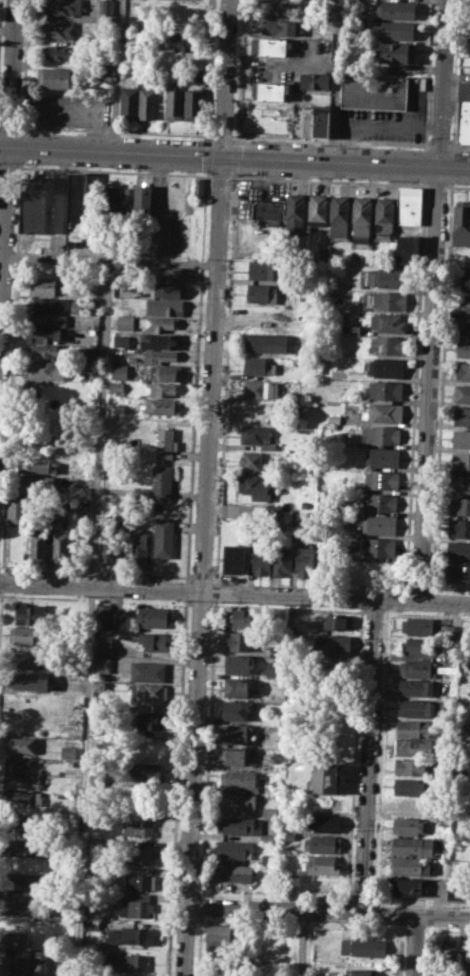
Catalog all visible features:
building: (277, 6)
building: (62, 7)
building: (106, 7)
building: (391, 9)
building: (182, 16)
road: (0, 19)
building: (281, 27)
building: (59, 30)
building: (394, 30)
building: (181, 41)
building: (271, 46)
building: (393, 51)
building: (57, 52)
road: (24, 63)
road: (209, 70)
road: (238, 70)
road: (11, 72)
building: (104, 72)
road: (116, 75)
building: (53, 77)
road: (224, 77)
building: (314, 80)
road: (335, 80)
road: (443, 83)
building: (270, 91)
building: (464, 91)
building: (374, 92)
building: (128, 102)
building: (149, 103)
building: (173, 104)
building: (191, 104)
parking lot: (67, 110)
road: (83, 110)
building: (316, 121)
building: (463, 122)
road: (0, 125)
road: (9, 126)
road: (114, 131)
road: (221, 136)
road: (331, 140)
road: (439, 145)
road: (459, 146)
road: (206, 155)
road: (234, 155)
road: (235, 156)
road: (8, 167)
road: (114, 171)
road: (221, 175)
road: (329, 180)
road: (437, 185)
road: (458, 186)
building: (198, 188)
building: (126, 200)
building: (110, 201)
building: (143, 201)
building: (35, 205)
building: (410, 205)
building: (77, 206)
road: (158, 207)
building: (268, 209)
building: (317, 209)
building: (295, 213)
building: (338, 216)
building: (384, 217)
building: (361, 219)
building: (461, 222)
road: (3, 235)
parking lot: (166, 235)
building: (407, 250)
building: (322, 253)
road: (56, 258)
building: (264, 269)
building: (168, 274)
building: (384, 277)
building: (465, 281)
building: (44, 286)
building: (169, 290)
building: (261, 293)
building: (386, 300)
building: (51, 303)
building: (90, 304)
building: (465, 304)
building: (77, 305)
building: (166, 306)
building: (263, 315)
building: (51, 318)
building: (387, 322)
building: (158, 324)
building: (463, 326)
building: (351, 328)
building: (45, 335)
building: (122, 339)
building: (161, 340)
building: (260, 343)
building: (387, 344)
building: (463, 348)
building: (44, 349)
building: (89, 353)
building: (163, 357)
building: (258, 365)
building: (88, 366)
building: (387, 367)
building: (45, 369)
road: (103, 369)
building: (119, 371)
building: (462, 371)
building: (166, 372)
road: (195, 375)
road: (225, 377)
road: (429, 383)
building: (259, 388)
building: (157, 389)
building: (116, 390)
building: (385, 390)
building: (462, 392)
building: (156, 406)
building: (383, 412)
building: (461, 414)
building: (334, 418)
building: (380, 434)
building: (257, 436)
building: (461, 437)
building: (165, 443)
building: (382, 456)
building: (252, 460)
building: (460, 460)
building: (37, 466)
building: (377, 479)
building: (460, 482)
building: (37, 484)
building: (157, 485)
building: (255, 486)
building: (379, 502)
building: (460, 505)
building: (16, 511)
building: (272, 512)
building: (379, 524)
building: (459, 528)
building: (164, 537)
building: (39, 543)
building: (61, 543)
building: (375, 546)
building: (107, 549)
building: (459, 550)
building: (139, 551)
building: (233, 558)
building: (262, 558)
building: (304, 559)
building: (281, 561)
building: (326, 561)
road: (202, 565)
building: (376, 569)
building: (458, 572)
road: (186, 590)
road: (215, 592)
road: (235, 592)
building: (103, 610)
building: (32, 614)
building: (152, 617)
building: (240, 618)
building: (337, 622)
building: (418, 625)
building: (26, 635)
building: (156, 641)
building: (239, 641)
building: (332, 642)
building: (103, 645)
building: (418, 646)
building: (26, 660)
building: (102, 663)
building: (238, 664)
building: (417, 668)
building: (148, 671)
building: (29, 680)
building: (237, 686)
building: (415, 687)
building: (149, 692)
building: (415, 708)
building: (238, 709)
building: (150, 720)
building: (462, 726)
building: (97, 727)
building: (415, 728)
building: (235, 733)
building: (20, 744)
building: (413, 746)
road: (208, 749)
building: (68, 752)
road: (368, 755)
building: (235, 756)
building: (18, 763)
building: (410, 766)
building: (70, 770)
building: (143, 773)
building: (328, 777)
building: (95, 778)
building: (240, 778)
building: (21, 781)
road: (81, 781)
building: (409, 786)
road: (176, 787)
building: (21, 798)
building: (237, 801)
building: (327, 802)
building: (409, 805)
building: (268, 812)
building: (95, 816)
building: (325, 822)
building: (22, 824)
building: (456, 824)
building: (239, 825)
building: (139, 826)
building: (408, 826)
building: (267, 838)
building: (322, 842)
building: (20, 844)
building: (96, 844)
building: (412, 845)
building: (235, 848)
building: (139, 854)
building: (267, 859)
building: (322, 864)
building: (411, 866)
building: (92, 869)
building: (233, 872)
building: (24, 878)
building: (141, 881)
building: (317, 885)
building: (408, 886)
building: (457, 890)
building: (18, 893)
building: (90, 900)
road: (200, 905)
building: (18, 907)
building: (135, 908)
road: (328, 909)
building: (91, 924)
building: (221, 932)
building: (359, 932)
building: (131, 936)
building: (13, 939)
building: (60, 940)
road: (301, 942)
road: (198, 945)
road: (413, 945)
building: (362, 947)
building: (467, 953)
building: (448, 954)
building: (128, 963)
building: (5, 966)
building: (23, 966)
building: (42, 967)
building: (333, 971)
building: (360, 972)

